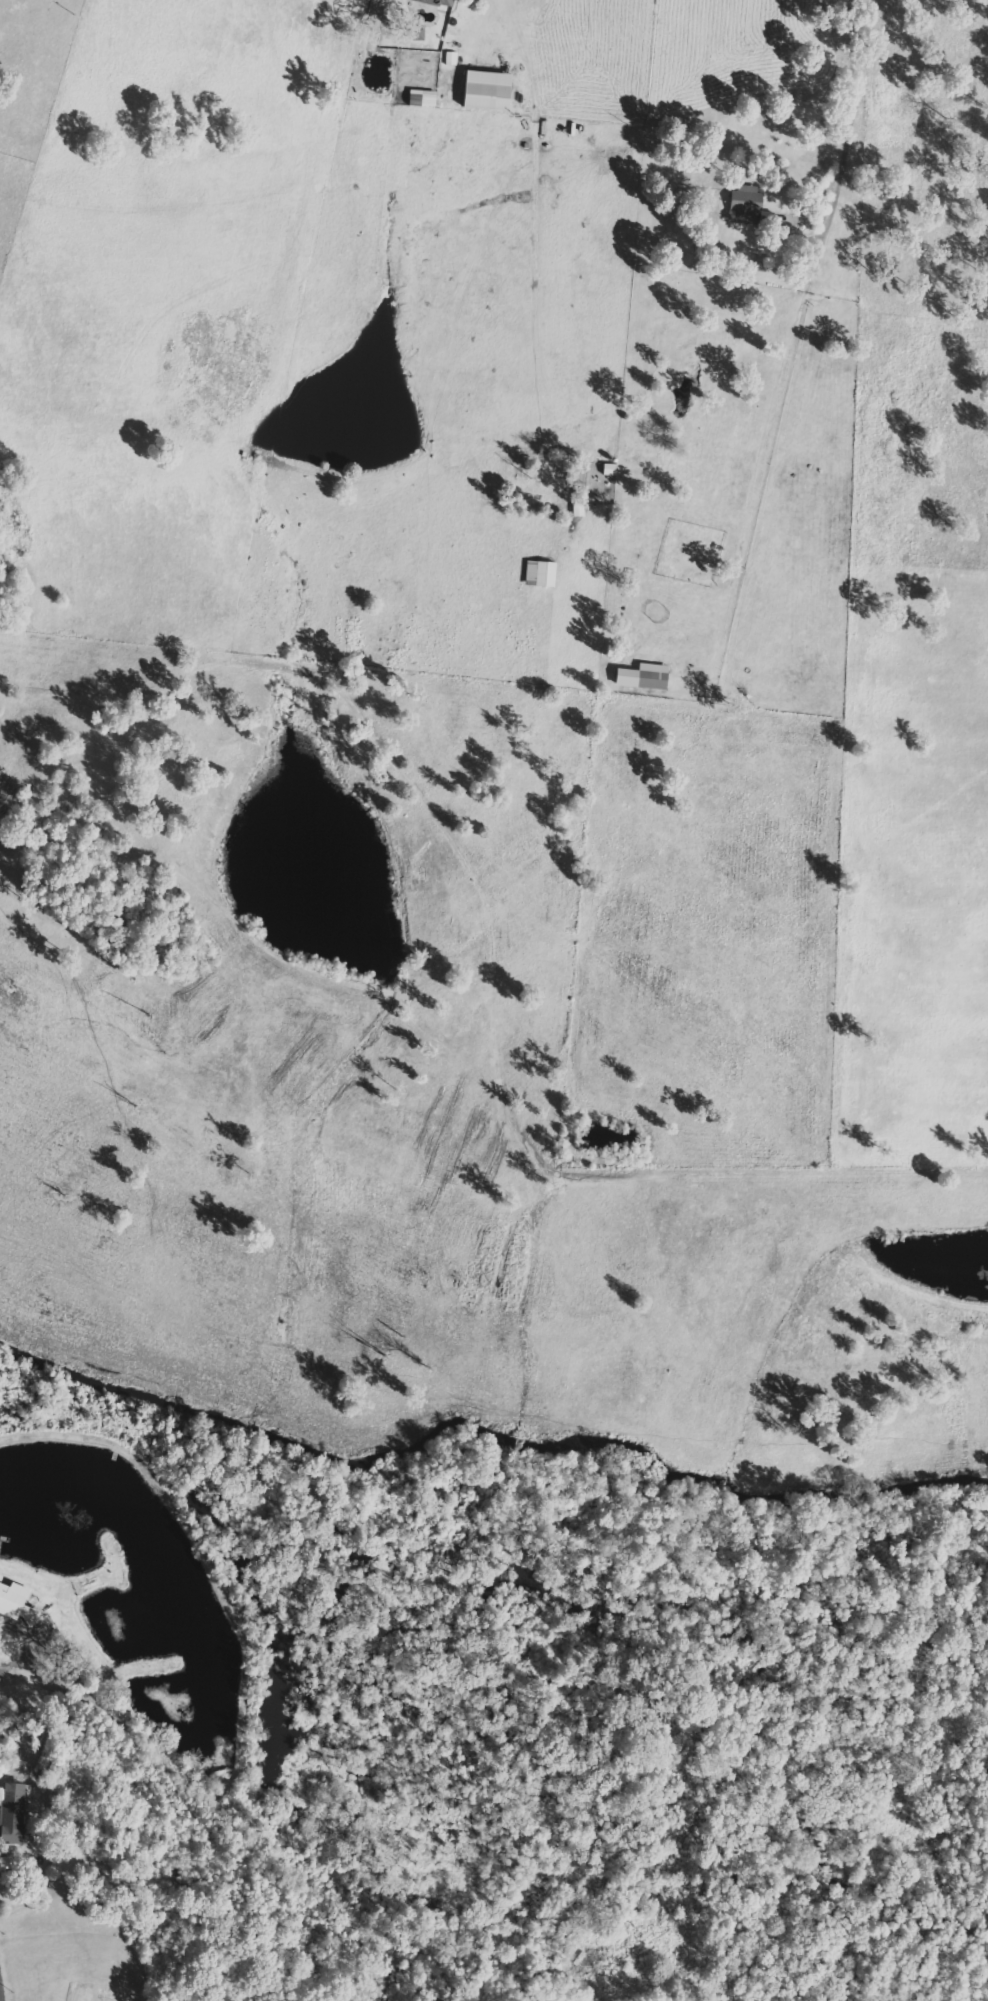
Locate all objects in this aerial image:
building: (439, 2)
building: (490, 91)
building: (429, 99)
building: (747, 201)
building: (541, 574)
building: (645, 677)
building: (18, 1604)
building: (15, 1813)
building: (6, 1864)
road: (4, 1975)

